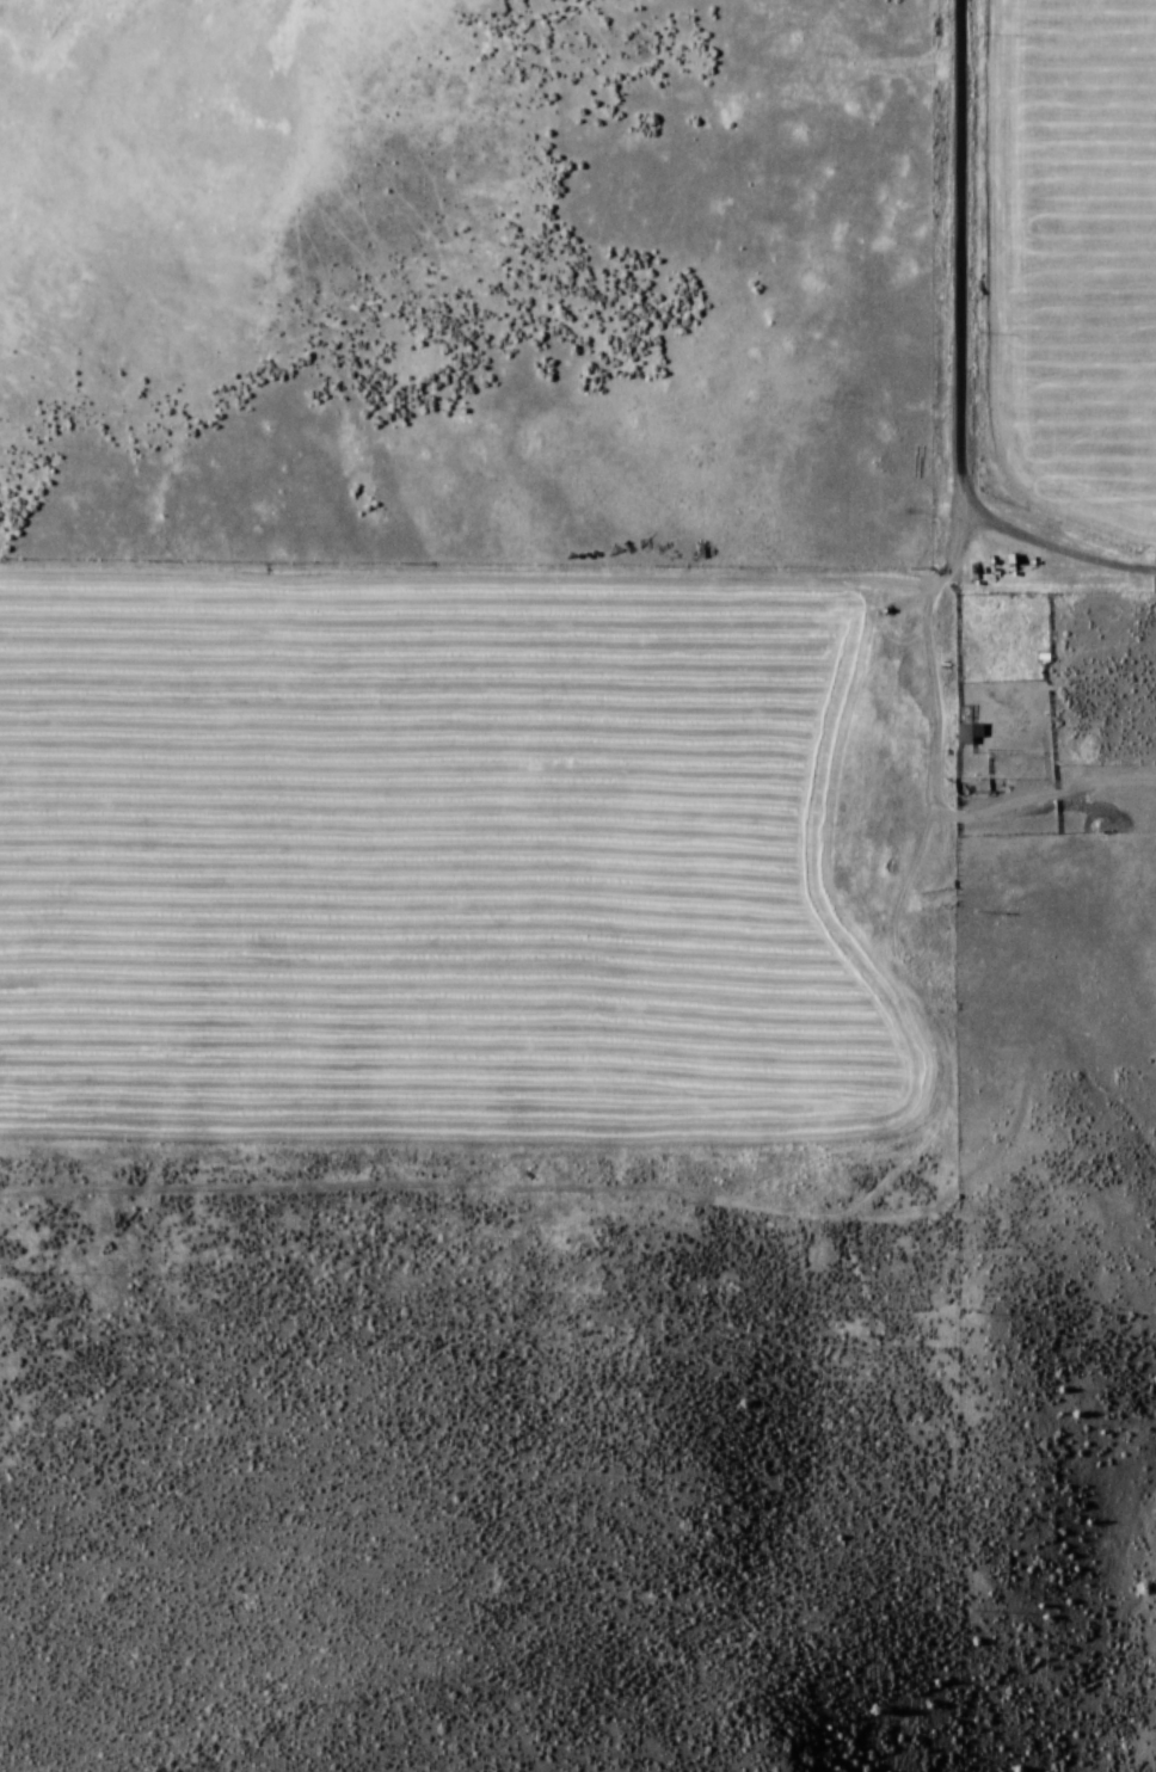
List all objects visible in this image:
road: (965, 283)
building: (966, 732)

